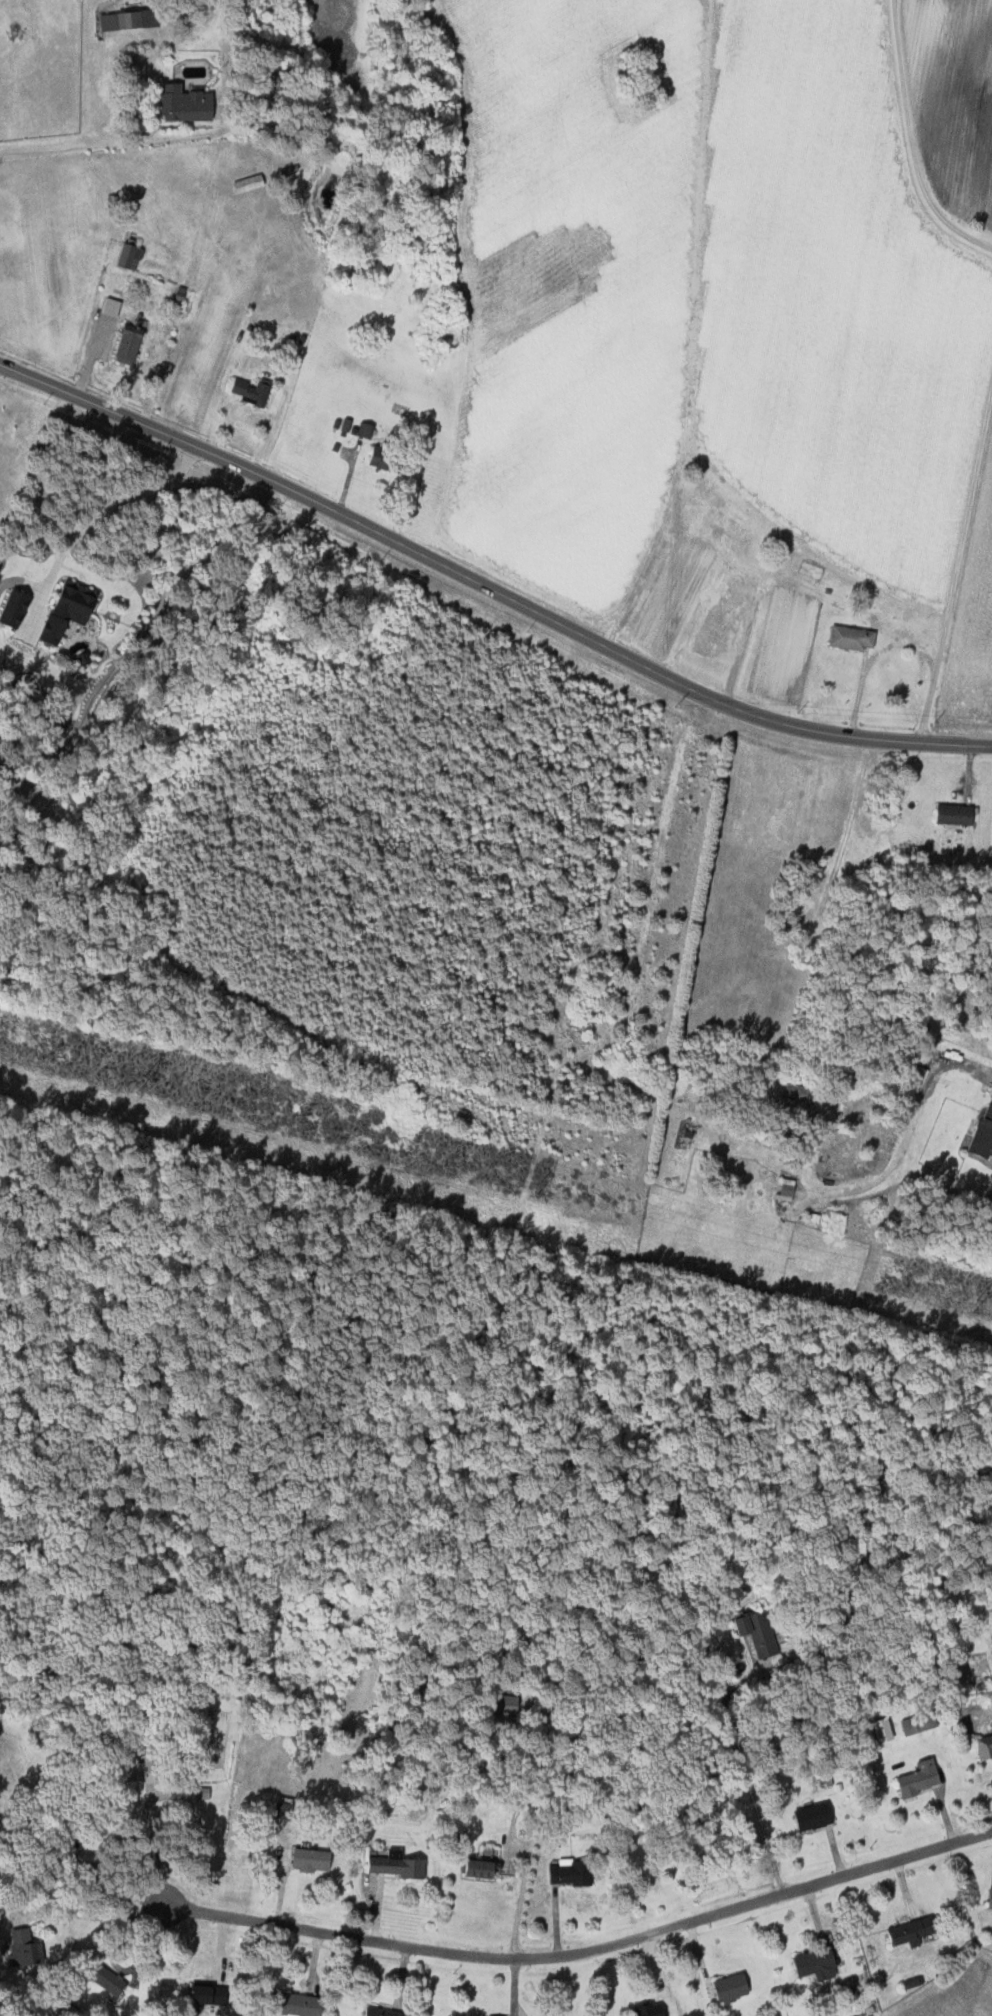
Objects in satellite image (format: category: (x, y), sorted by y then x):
building: (128, 19)
road: (106, 97)
building: (184, 103)
road: (913, 140)
road: (104, 143)
building: (248, 183)
building: (130, 254)
building: (111, 306)
building: (130, 342)
road: (92, 358)
building: (251, 390)
building: (364, 429)
building: (382, 457)
road: (92, 518)
building: (743, 541)
road: (957, 568)
building: (809, 569)
road: (488, 583)
building: (13, 608)
building: (67, 609)
building: (711, 632)
building: (852, 637)
road: (741, 651)
road: (873, 659)
building: (954, 813)
road: (980, 1068)
power tower: (143, 1077)
building: (920, 1078)
building: (983, 1135)
power tower: (538, 1184)
building: (786, 1188)
power tower: (974, 1303)
building: (757, 1630)
building: (505, 1704)
building: (915, 1725)
building: (883, 1729)
building: (983, 1744)
building: (71, 1762)
building: (137, 1772)
road: (746, 1775)
building: (920, 1778)
building: (203, 1792)
building: (813, 1816)
road: (512, 1827)
road: (151, 1850)
building: (310, 1859)
building: (393, 1863)
building: (482, 1868)
building: (570, 1872)
building: (990, 1898)
road: (99, 1915)
building: (910, 1930)
building: (26, 1947)
road: (588, 1949)
building: (816, 1962)
building: (109, 1980)
building: (913, 1982)
building: (731, 1987)
building: (209, 1993)
building: (296, 2004)
building: (650, 2008)
building: (381, 2012)

